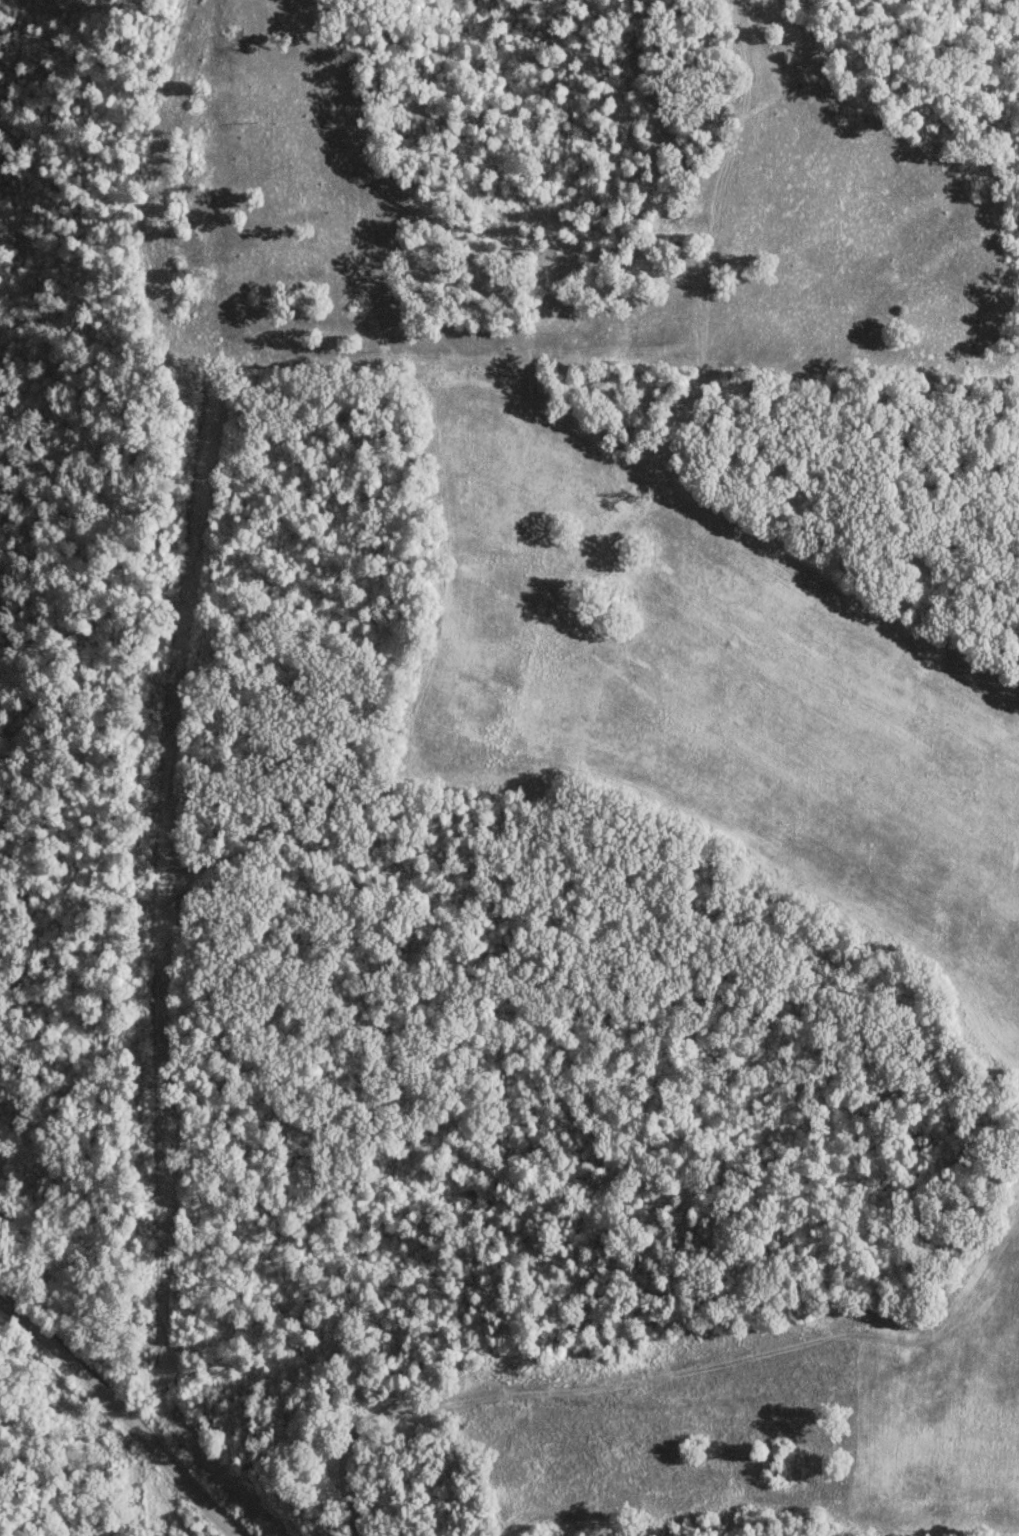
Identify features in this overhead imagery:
road: (124, 1412)

